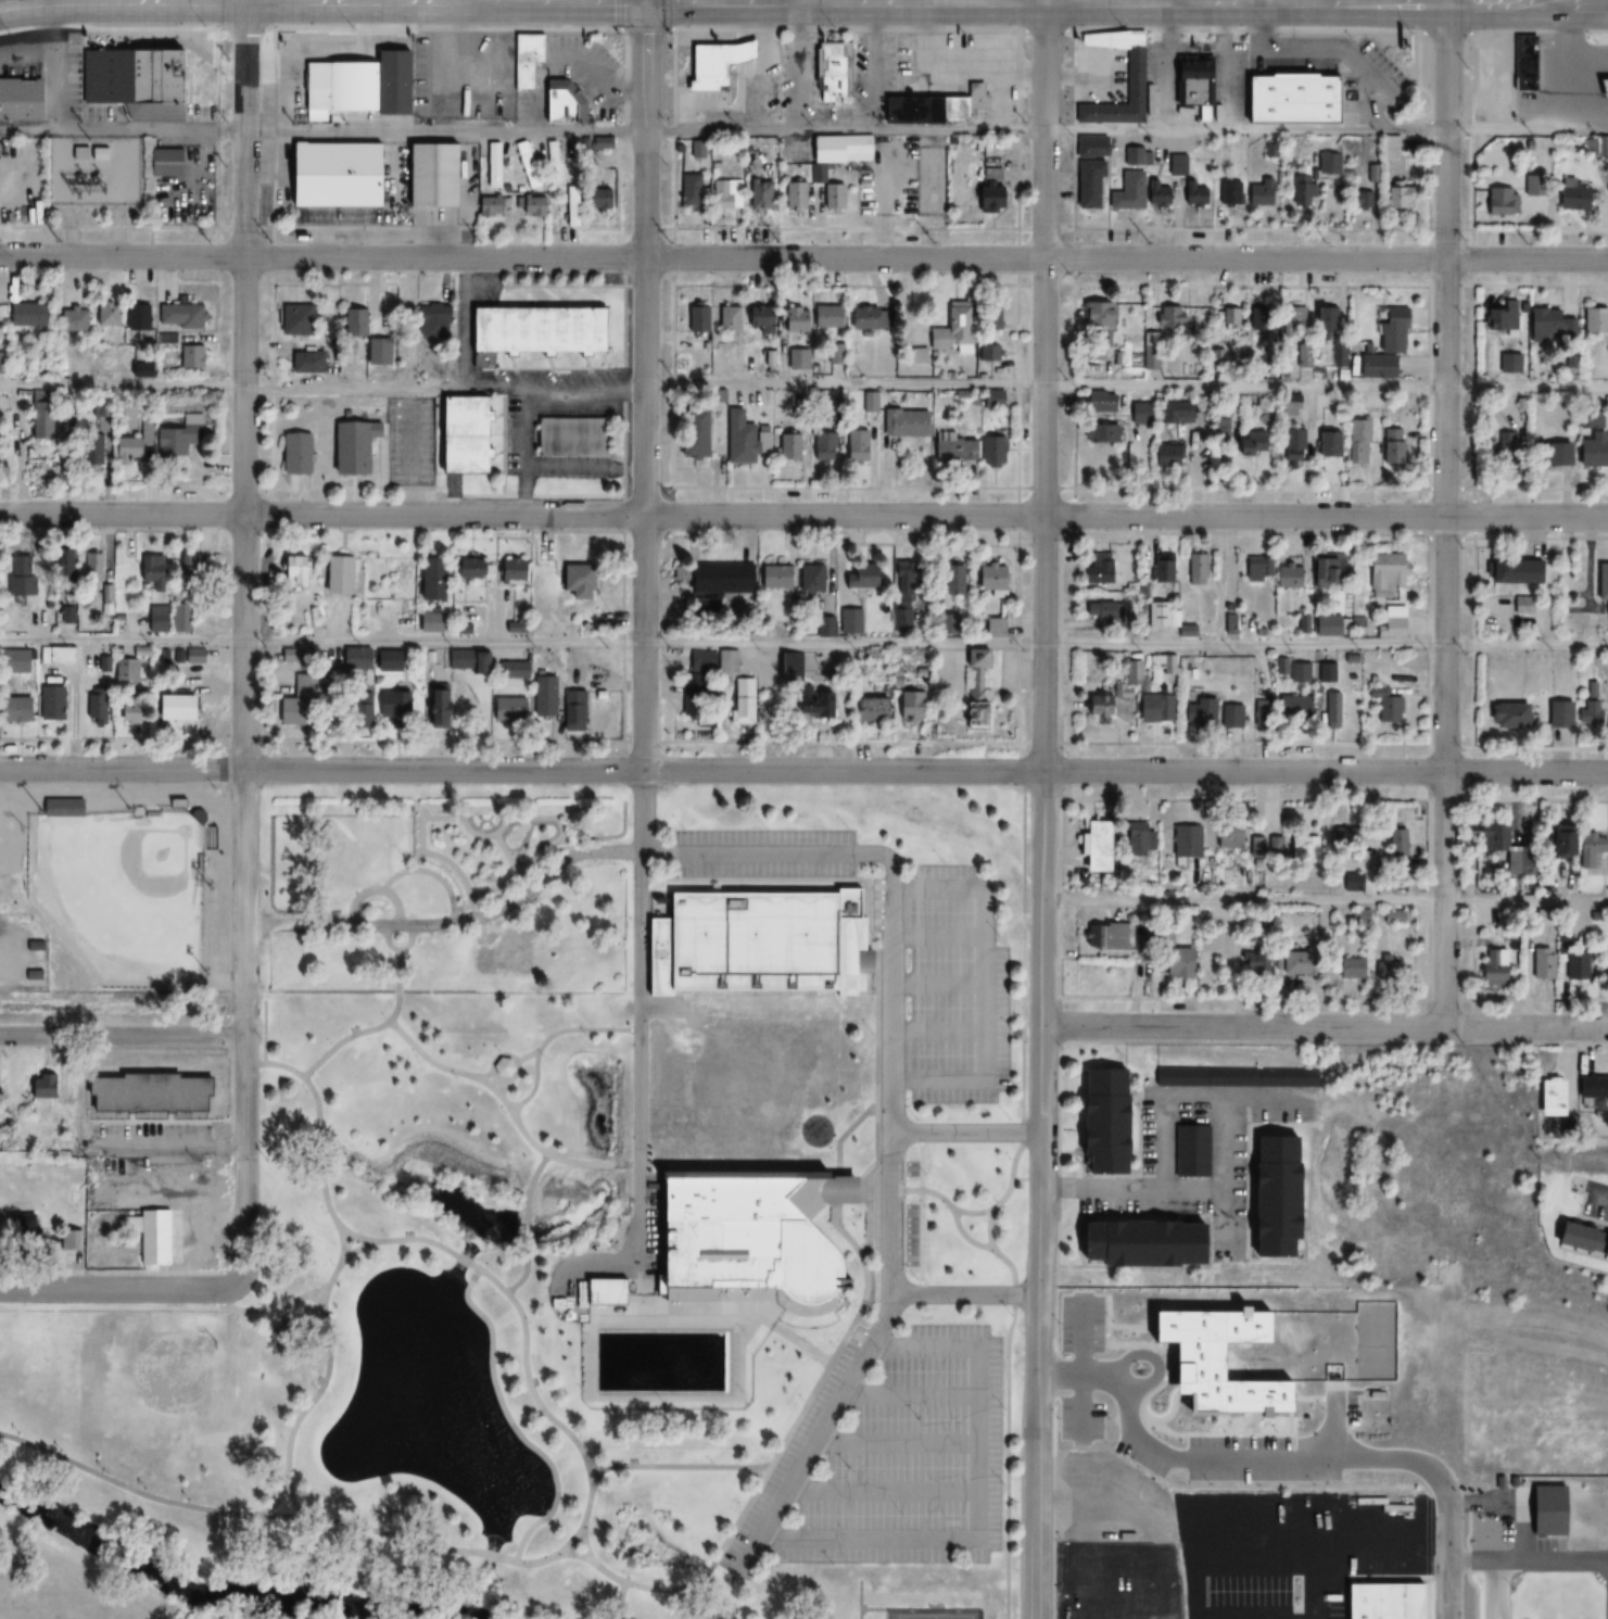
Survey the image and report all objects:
road: (248, 0)
road: (571, 1)
road: (646, 1)
road: (1046, 1)
road: (1153, 1)
road: (4, 2)
traffic signals: (646, 2)
road: (720, 2)
road: (920, 2)
road: (1152, 2)
road: (1353, 2)
road: (1494, 2)
road: (1574, 2)
road: (645, 26)
road: (568, 27)
building: (747, 50)
building: (524, 59)
building: (1601, 61)
building: (707, 63)
building: (1523, 65)
building: (493, 66)
building: (830, 72)
building: (419, 76)
building: (1132, 78)
building: (127, 83)
building: (358, 85)
building: (1193, 86)
building: (18, 100)
building: (1290, 100)
building: (561, 103)
building: (934, 107)
building: (443, 110)
building: (468, 110)
building: (494, 110)
road: (673, 125)
road: (1017, 126)
road: (1472, 129)
road: (803, 131)
building: (1090, 147)
building: (823, 148)
building: (695, 150)
building: (522, 155)
building: (1140, 159)
building: (550, 161)
building: (1327, 164)
building: (493, 165)
building: (990, 174)
building: (333, 175)
building: (431, 176)
building: (103, 177)
building: (1088, 184)
building: (1534, 185)
building: (688, 192)
building: (724, 193)
building: (1137, 193)
building: (1191, 193)
building: (1228, 193)
building: (1258, 193)
building: (758, 194)
building: (794, 194)
building: (1303, 194)
building: (1396, 194)
building: (1570, 194)
building: (831, 195)
building: (595, 198)
building: (986, 199)
building: (1357, 201)
building: (1501, 201)
building: (486, 204)
building: (530, 206)
building: (569, 206)
road: (803, 257)
building: (1096, 313)
building: (21, 314)
building: (101, 314)
building: (131, 316)
building: (176, 316)
building: (823, 316)
building: (757, 317)
building: (68, 318)
building: (697, 318)
building: (790, 318)
building: (864, 318)
building: (1170, 318)
building: (1230, 318)
building: (1257, 318)
building: (292, 319)
building: (429, 319)
building: (726, 319)
building: (1493, 319)
building: (1594, 319)
building: (1322, 320)
building: (1542, 320)
building: (1293, 321)
building: (350, 322)
building: (955, 322)
building: (922, 329)
building: (529, 331)
building: (990, 333)
building: (1384, 345)
building: (1092, 352)
building: (186, 356)
building: (1303, 356)
building: (796, 358)
building: (309, 362)
building: (1508, 363)
road: (1043, 385)
road: (1126, 385)
road: (646, 387)
road: (263, 388)
road: (585, 391)
building: (991, 400)
building: (869, 402)
building: (1099, 402)
building: (1139, 414)
building: (1175, 414)
building: (902, 423)
building: (1099, 433)
building: (454, 434)
building: (689, 434)
building: (175, 437)
building: (743, 439)
building: (1357, 443)
building: (1249, 444)
building: (854, 445)
building: (1291, 445)
building: (1327, 445)
building: (347, 446)
building: (786, 446)
building: (821, 446)
building: (1502, 446)
building: (1390, 447)
building: (952, 450)
building: (1591, 451)
road: (410, 452)
building: (991, 452)
building: (87, 453)
building: (292, 453)
road: (526, 453)
building: (1549, 454)
building: (1166, 456)
road: (1445, 514)
road: (803, 516)
building: (66, 564)
building: (191, 564)
building: (94, 567)
building: (467, 568)
building: (1097, 568)
building: (1161, 569)
building: (1196, 569)
building: (509, 570)
building: (1254, 570)
building: (1326, 570)
building: (1512, 572)
building: (290, 573)
building: (333, 573)
building: (902, 574)
building: (1287, 575)
building: (1383, 575)
building: (770, 577)
building: (857, 577)
building: (716, 579)
building: (808, 579)
building: (989, 580)
building: (427, 581)
building: (572, 581)
building: (16, 582)
building: (1601, 583)
building: (161, 597)
building: (1522, 606)
building: (1097, 611)
building: (1156, 614)
building: (846, 621)
building: (1391, 621)
building: (427, 623)
building: (1332, 625)
building: (821, 628)
road: (244, 642)
road: (803, 643)
building: (53, 655)
building: (190, 656)
building: (456, 659)
building: (13, 661)
building: (98, 663)
building: (707, 666)
building: (1160, 667)
building: (124, 669)
building: (509, 671)
building: (1328, 672)
building: (798, 687)
building: (971, 693)
building: (541, 697)
building: (738, 701)
building: (49, 703)
building: (390, 703)
building: (1107, 703)
building: (907, 705)
building: (96, 707)
building: (1153, 707)
building: (1384, 707)
building: (14, 708)
building: (127, 708)
building: (434, 708)
building: (1293, 708)
building: (175, 709)
building: (864, 709)
building: (1331, 709)
building: (358, 710)
building: (505, 710)
building: (571, 710)
building: (292, 712)
building: (1198, 712)
building: (1590, 712)
building: (1258, 714)
building: (1506, 714)
building: (1558, 714)
building: (1229, 716)
road: (803, 771)
building: (59, 807)
building: (1091, 838)
building: (1344, 838)
building: (1228, 839)
building: (1558, 840)
building: (1135, 842)
building: (1185, 842)
building: (1396, 842)
building: (1502, 847)
building: (1264, 848)
building: (1302, 849)
parking lot: (763, 851)
building: (1588, 853)
park: (9, 867)
road: (892, 871)
park: (127, 885)
road: (1325, 901)
park: (114, 905)
road: (453, 922)
building: (1110, 937)
building: (752, 941)
road: (388, 944)
road: (1022, 954)
building: (1174, 963)
building: (1293, 963)
building: (1252, 964)
building: (1541, 964)
building: (1491, 965)
building: (1574, 966)
building: (1346, 967)
building: (1384, 967)
parking lot: (960, 987)
road: (1325, 1027)
road: (373, 1029)
road: (123, 1036)
road: (636, 1037)
road: (547, 1039)
road: (526, 1057)
building: (499, 1067)
road: (512, 1074)
road: (484, 1076)
road: (501, 1088)
building: (1588, 1088)
building: (40, 1090)
building: (142, 1093)
building: (1545, 1093)
road: (1190, 1097)
road: (506, 1105)
building: (1100, 1122)
road: (967, 1134)
road: (318, 1144)
road: (167, 1148)
building: (1182, 1149)
road: (843, 1155)
road: (1224, 1177)
building: (154, 1181)
building: (838, 1188)
road: (1132, 1190)
road: (1042, 1194)
road: (1597, 1196)
building: (1271, 1198)
road: (980, 1213)
road: (892, 1214)
building: (100, 1220)
building: (18, 1226)
road: (527, 1226)
park: (580, 1232)
building: (149, 1235)
road: (964, 1236)
building: (754, 1237)
building: (1579, 1239)
building: (71, 1240)
road: (341, 1242)
building: (1137, 1244)
road: (993, 1250)
road: (121, 1289)
road: (966, 1295)
road: (522, 1320)
road: (326, 1363)
park: (148, 1395)
road: (824, 1420)
road: (511, 1424)
road: (789, 1431)
parking lot: (892, 1456)
road: (1006, 1463)
road: (678, 1467)
road: (597, 1475)
road: (754, 1477)
road: (293, 1501)
road: (331, 1521)
road: (1451, 1536)
road: (584, 1543)
river: (220, 1588)
building: (1382, 1602)
park: (934, 1616)

